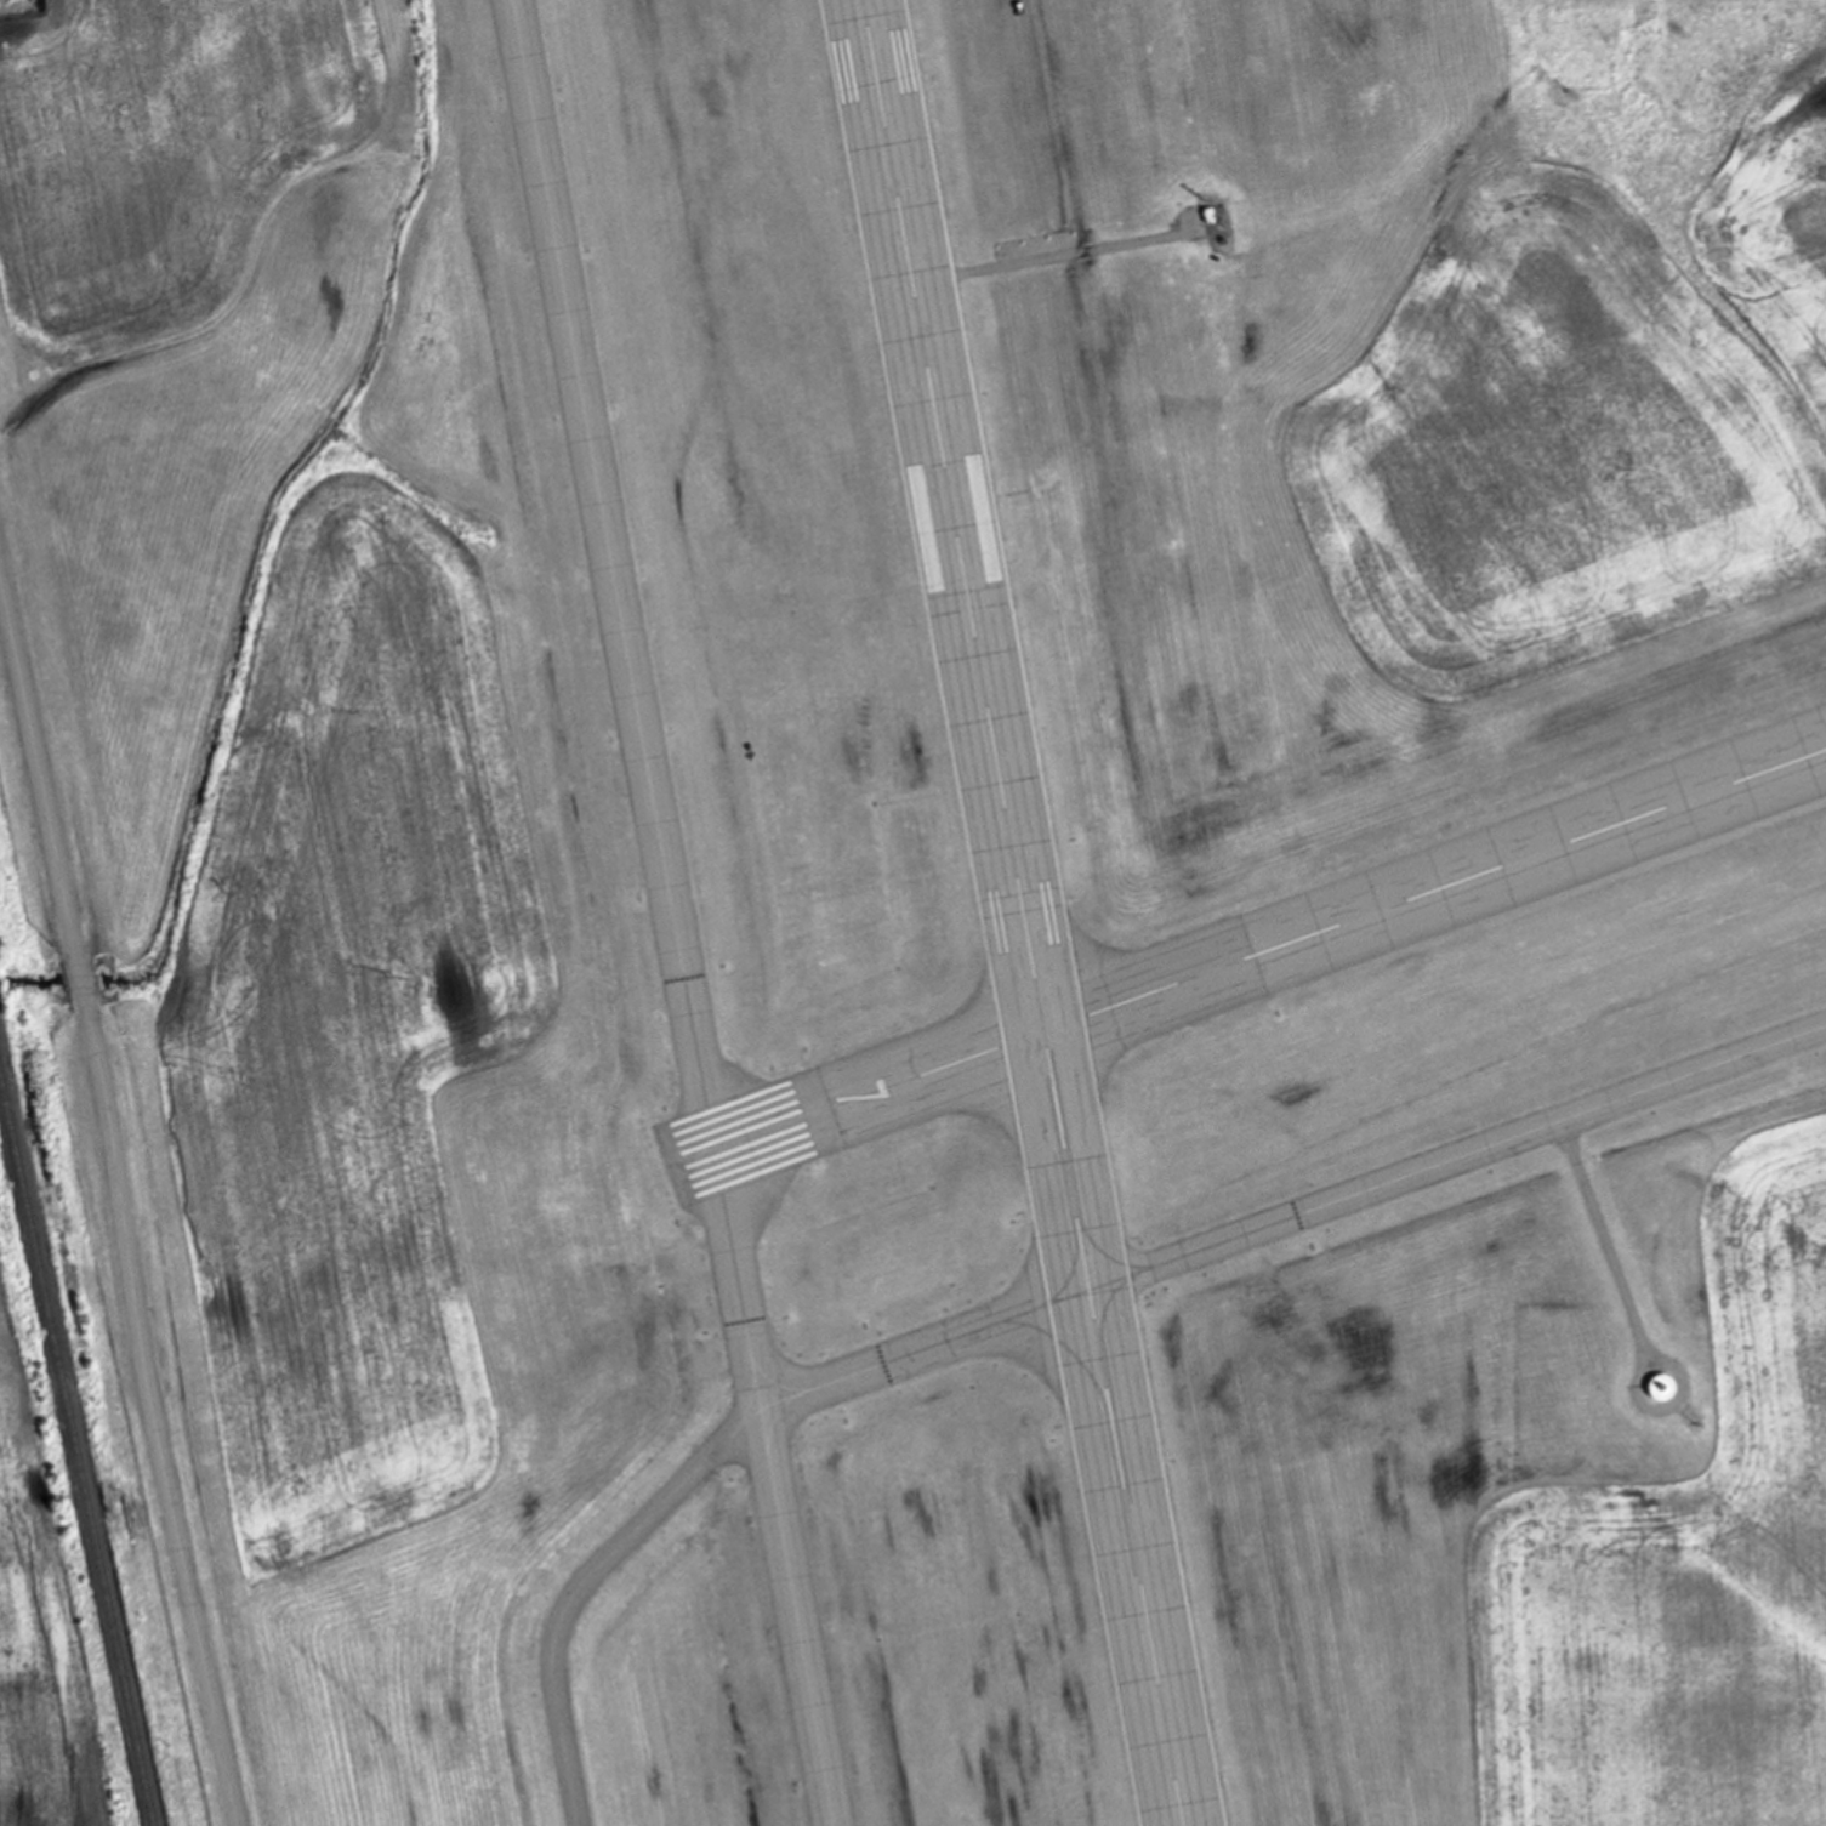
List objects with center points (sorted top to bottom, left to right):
road: (1065, 254)
airport taxiway: (639, 705)
airport: (939, 897)
airport runway: (1025, 912)
airport runway: (1247, 956)
road: (120, 1195)
airport taxiway: (1292, 1218)
road: (1636, 1315)
railway: (76, 1447)
airport taxiway: (584, 1586)
airport taxiway: (795, 1619)

